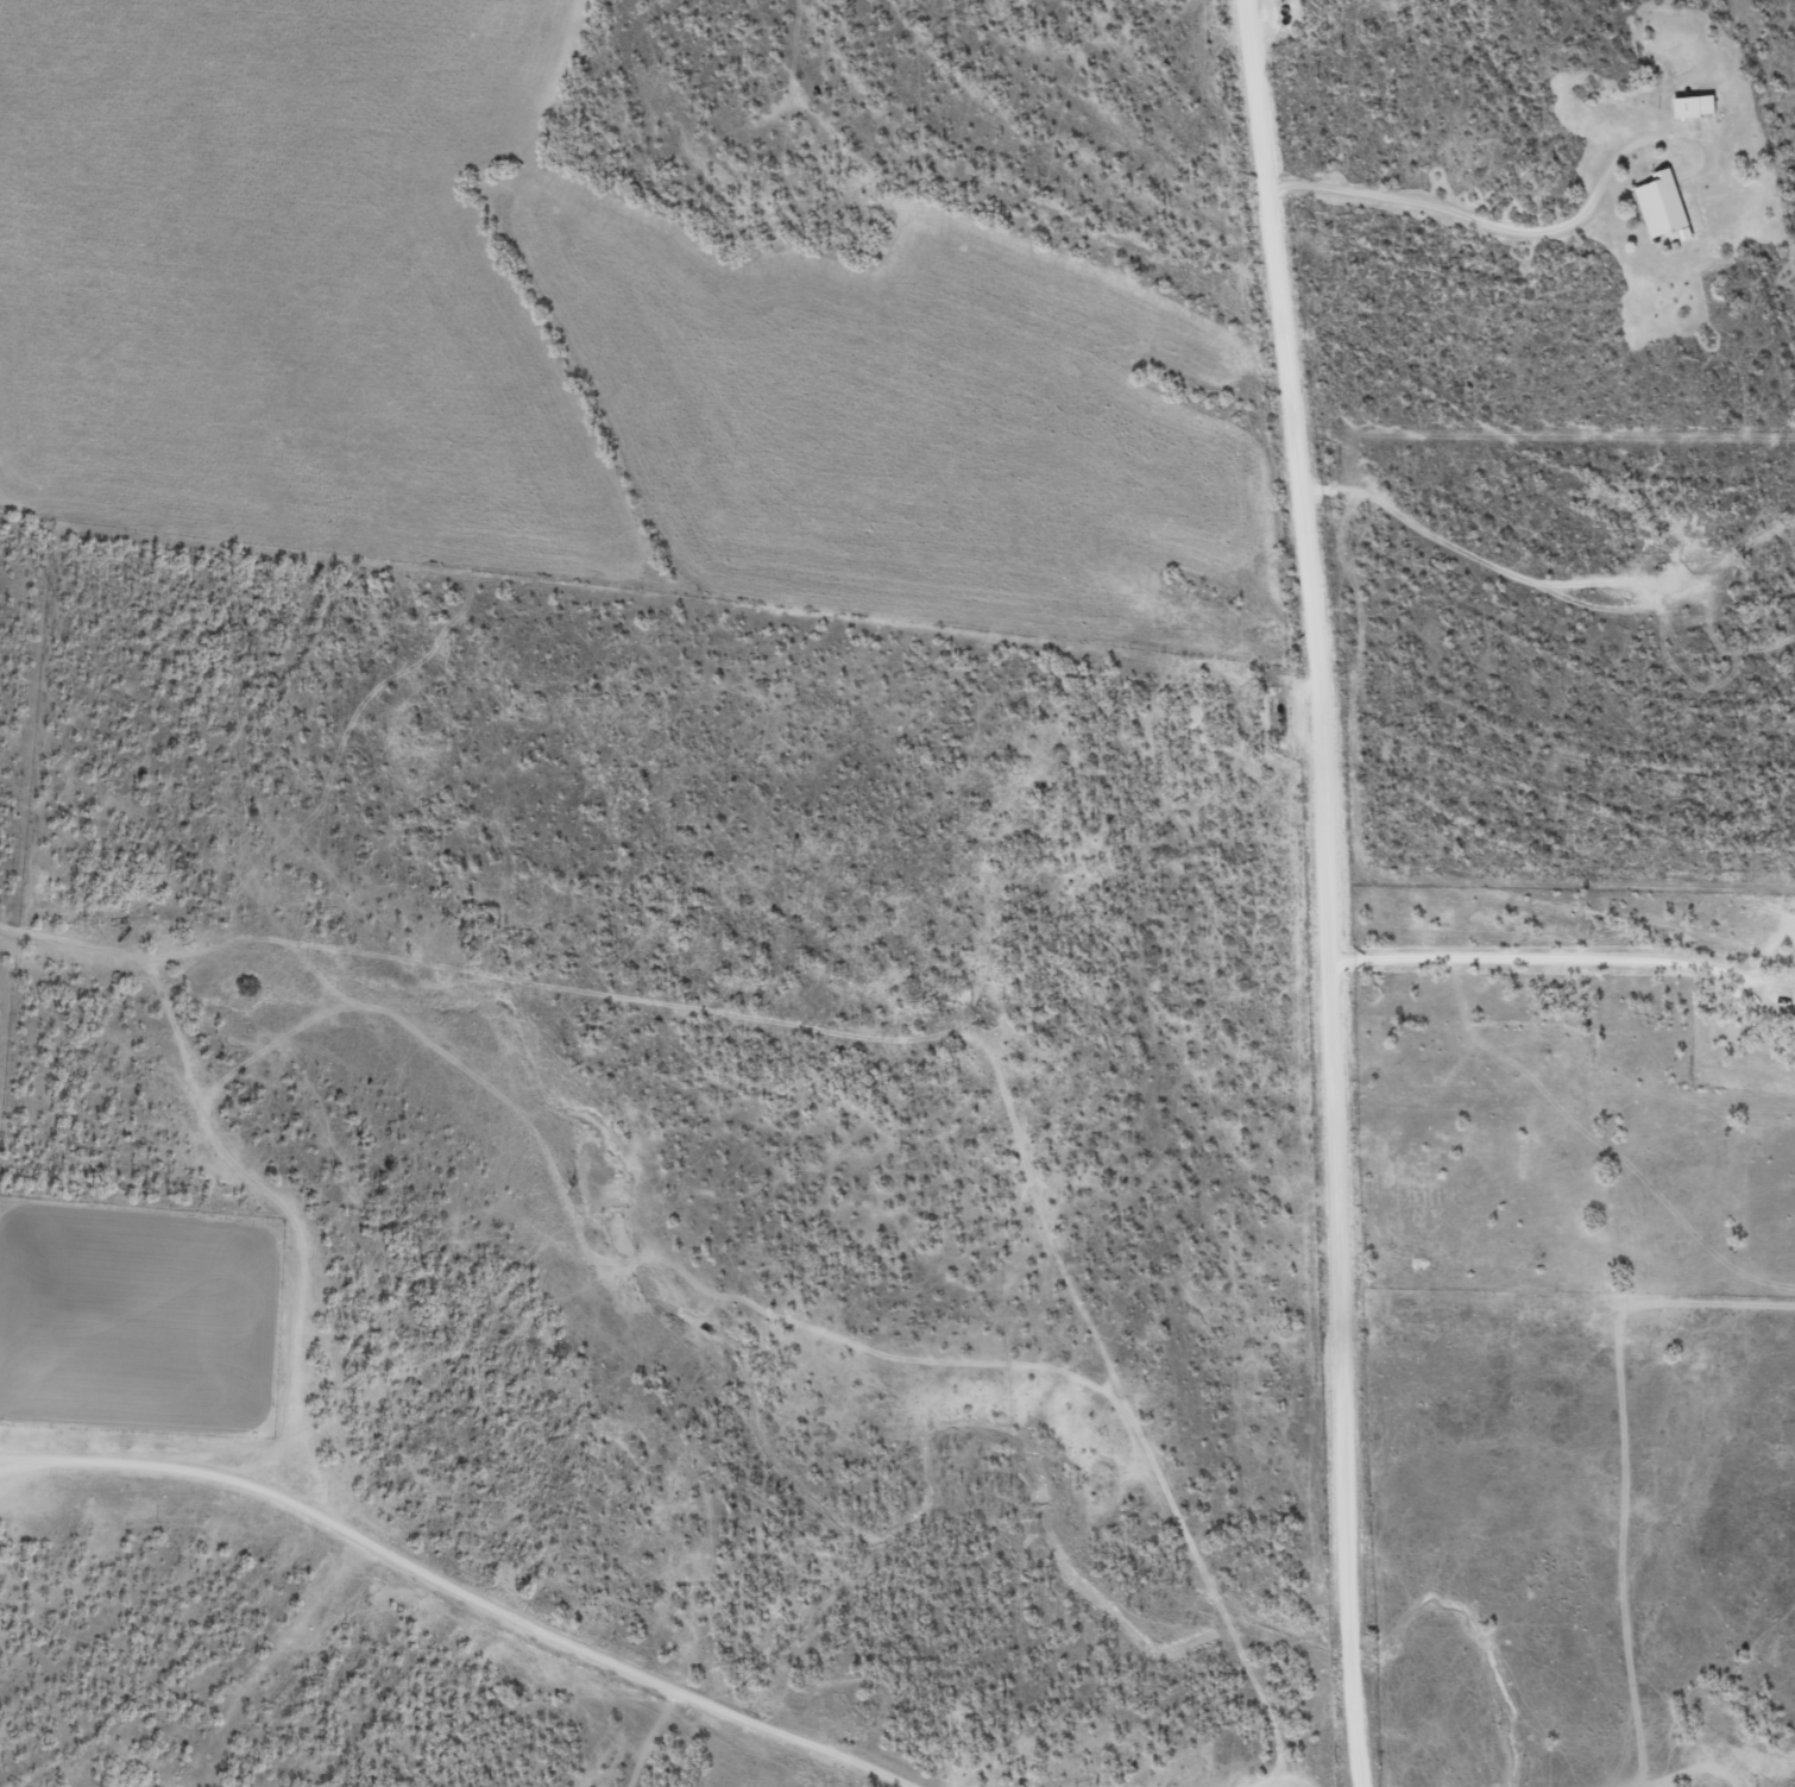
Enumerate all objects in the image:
building: (1698, 106)
building: (1665, 205)
road: (1303, 891)
road: (661, 1638)

